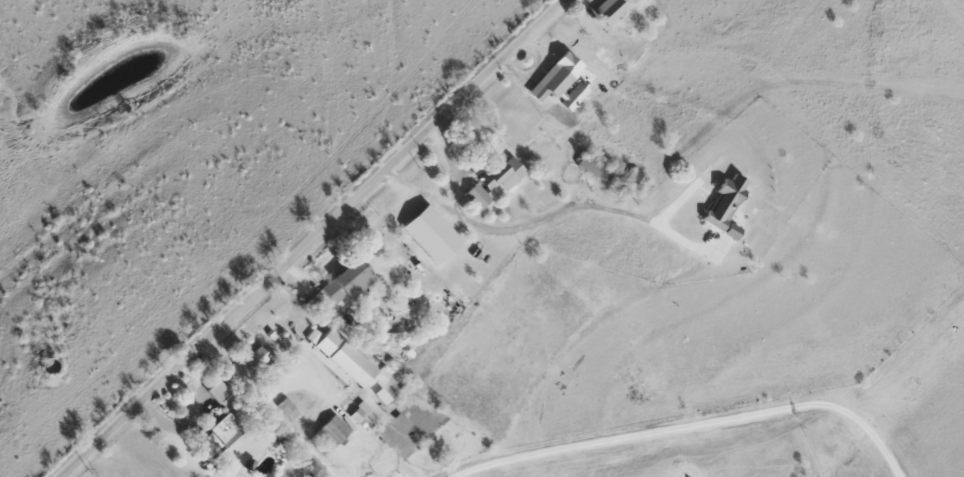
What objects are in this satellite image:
building: (555, 82)
road: (454, 168)
building: (500, 177)
building: (628, 183)
building: (472, 196)
building: (722, 203)
road: (540, 217)
building: (727, 231)
building: (425, 233)
road: (312, 238)
building: (252, 358)
building: (212, 390)
road: (337, 406)
road: (261, 412)
road: (690, 429)
building: (213, 431)

